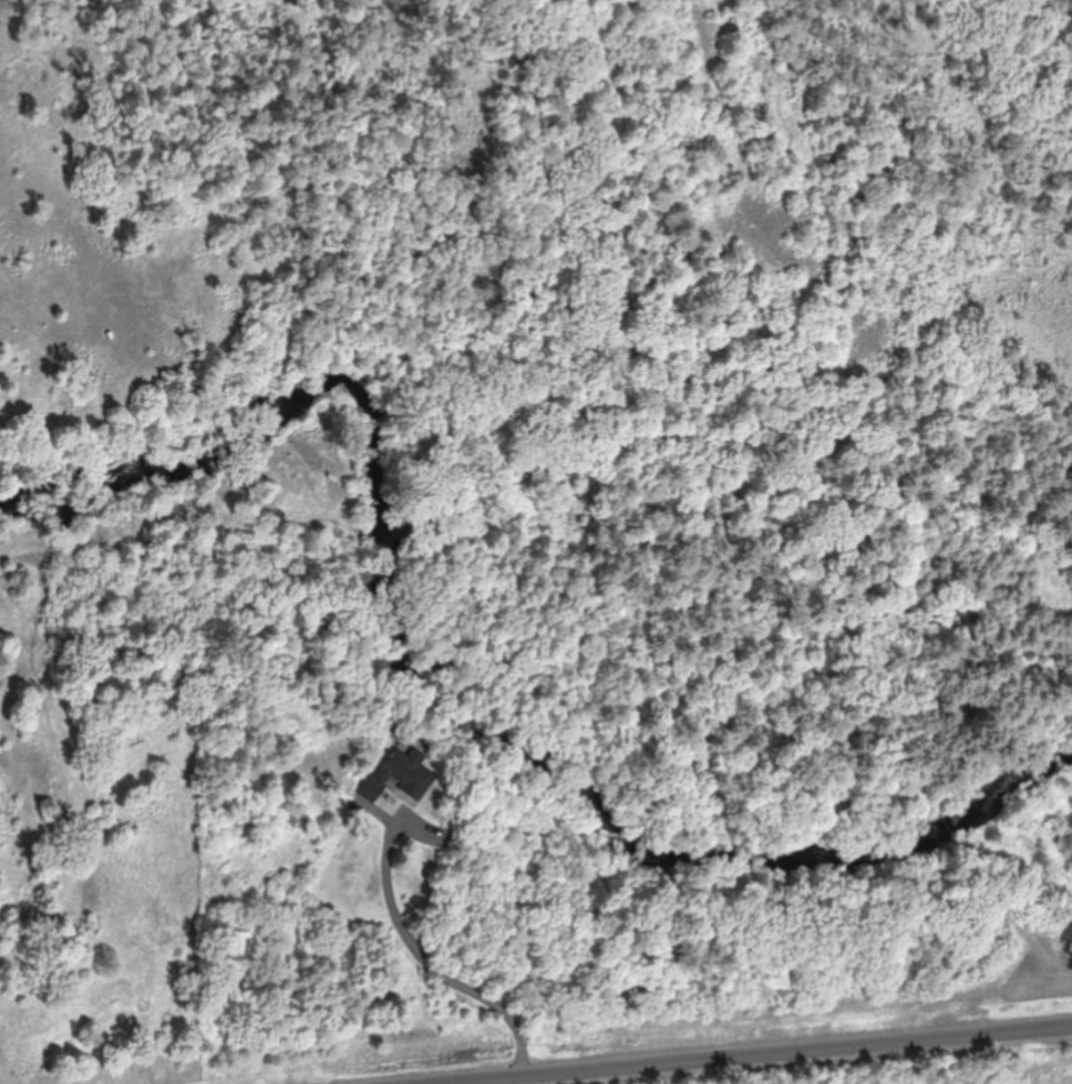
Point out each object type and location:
building: (396, 777)
road: (51, 905)
building: (240, 944)
road: (750, 1053)
road: (9, 1078)

